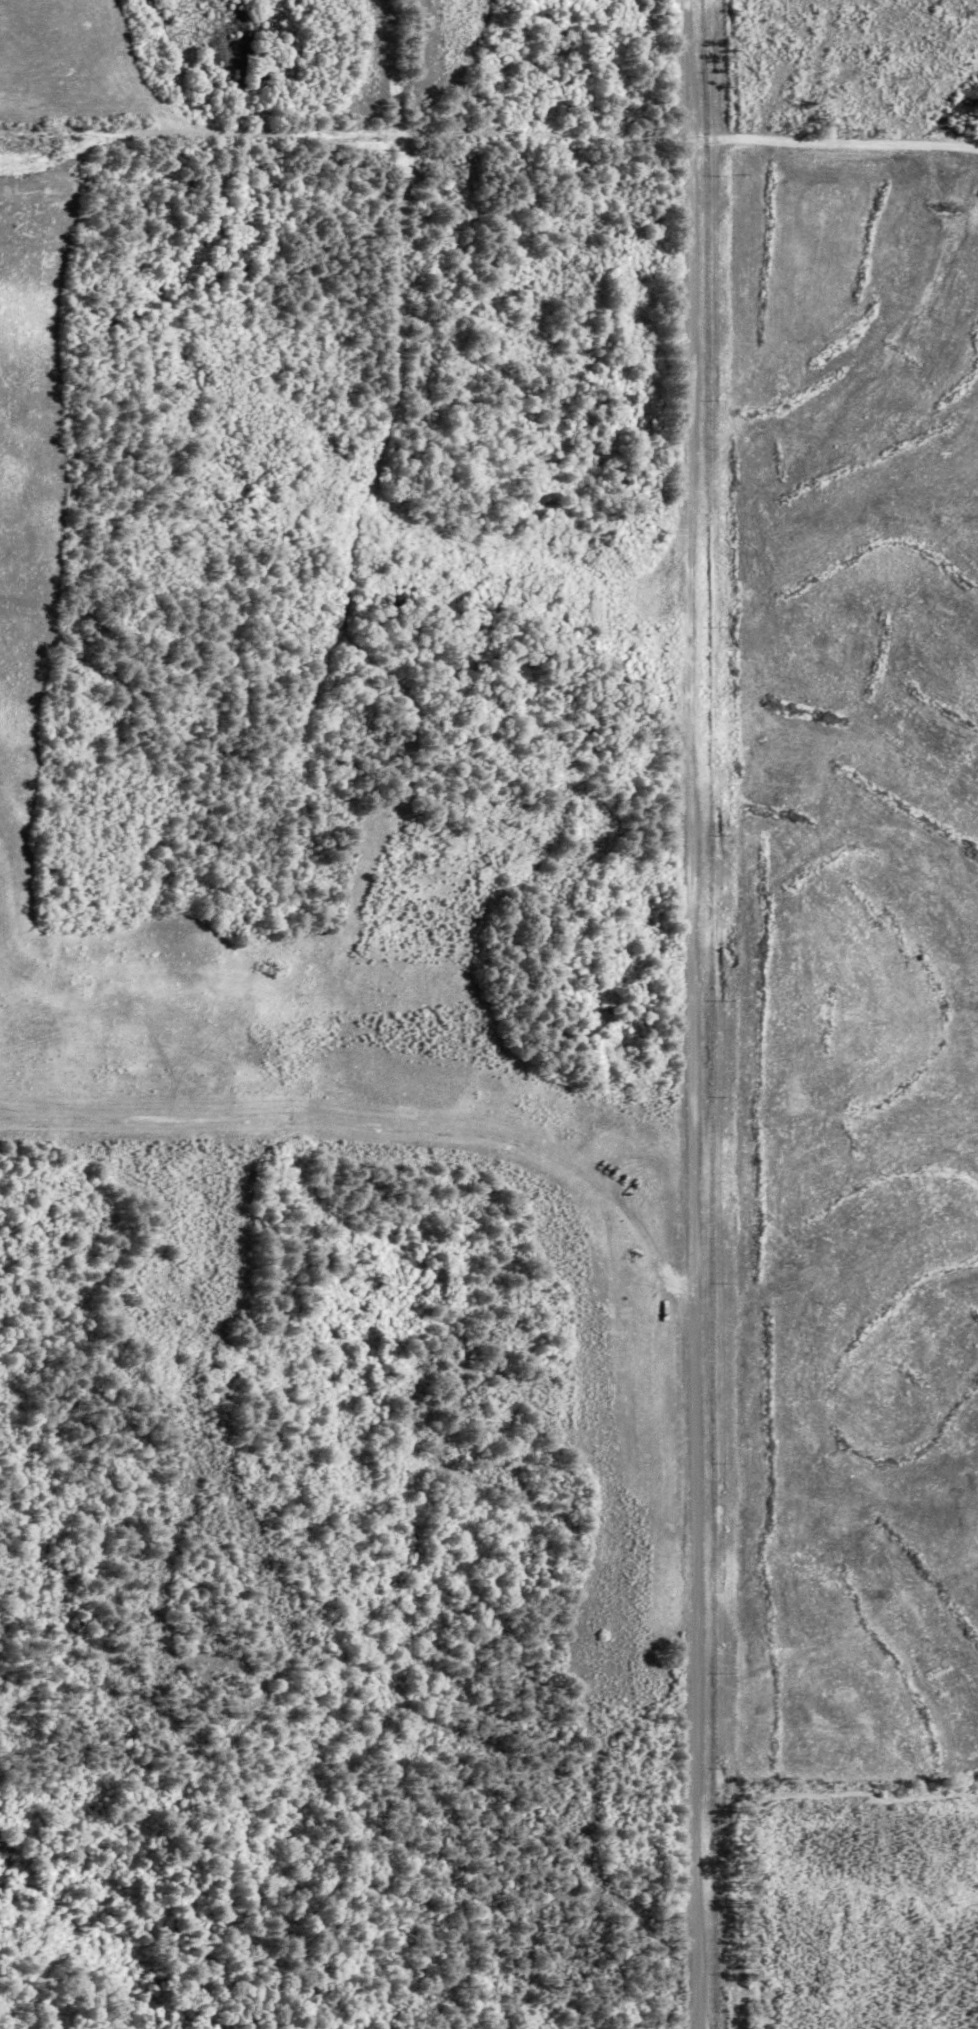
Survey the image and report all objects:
road: (346, 139)
road: (697, 1014)

